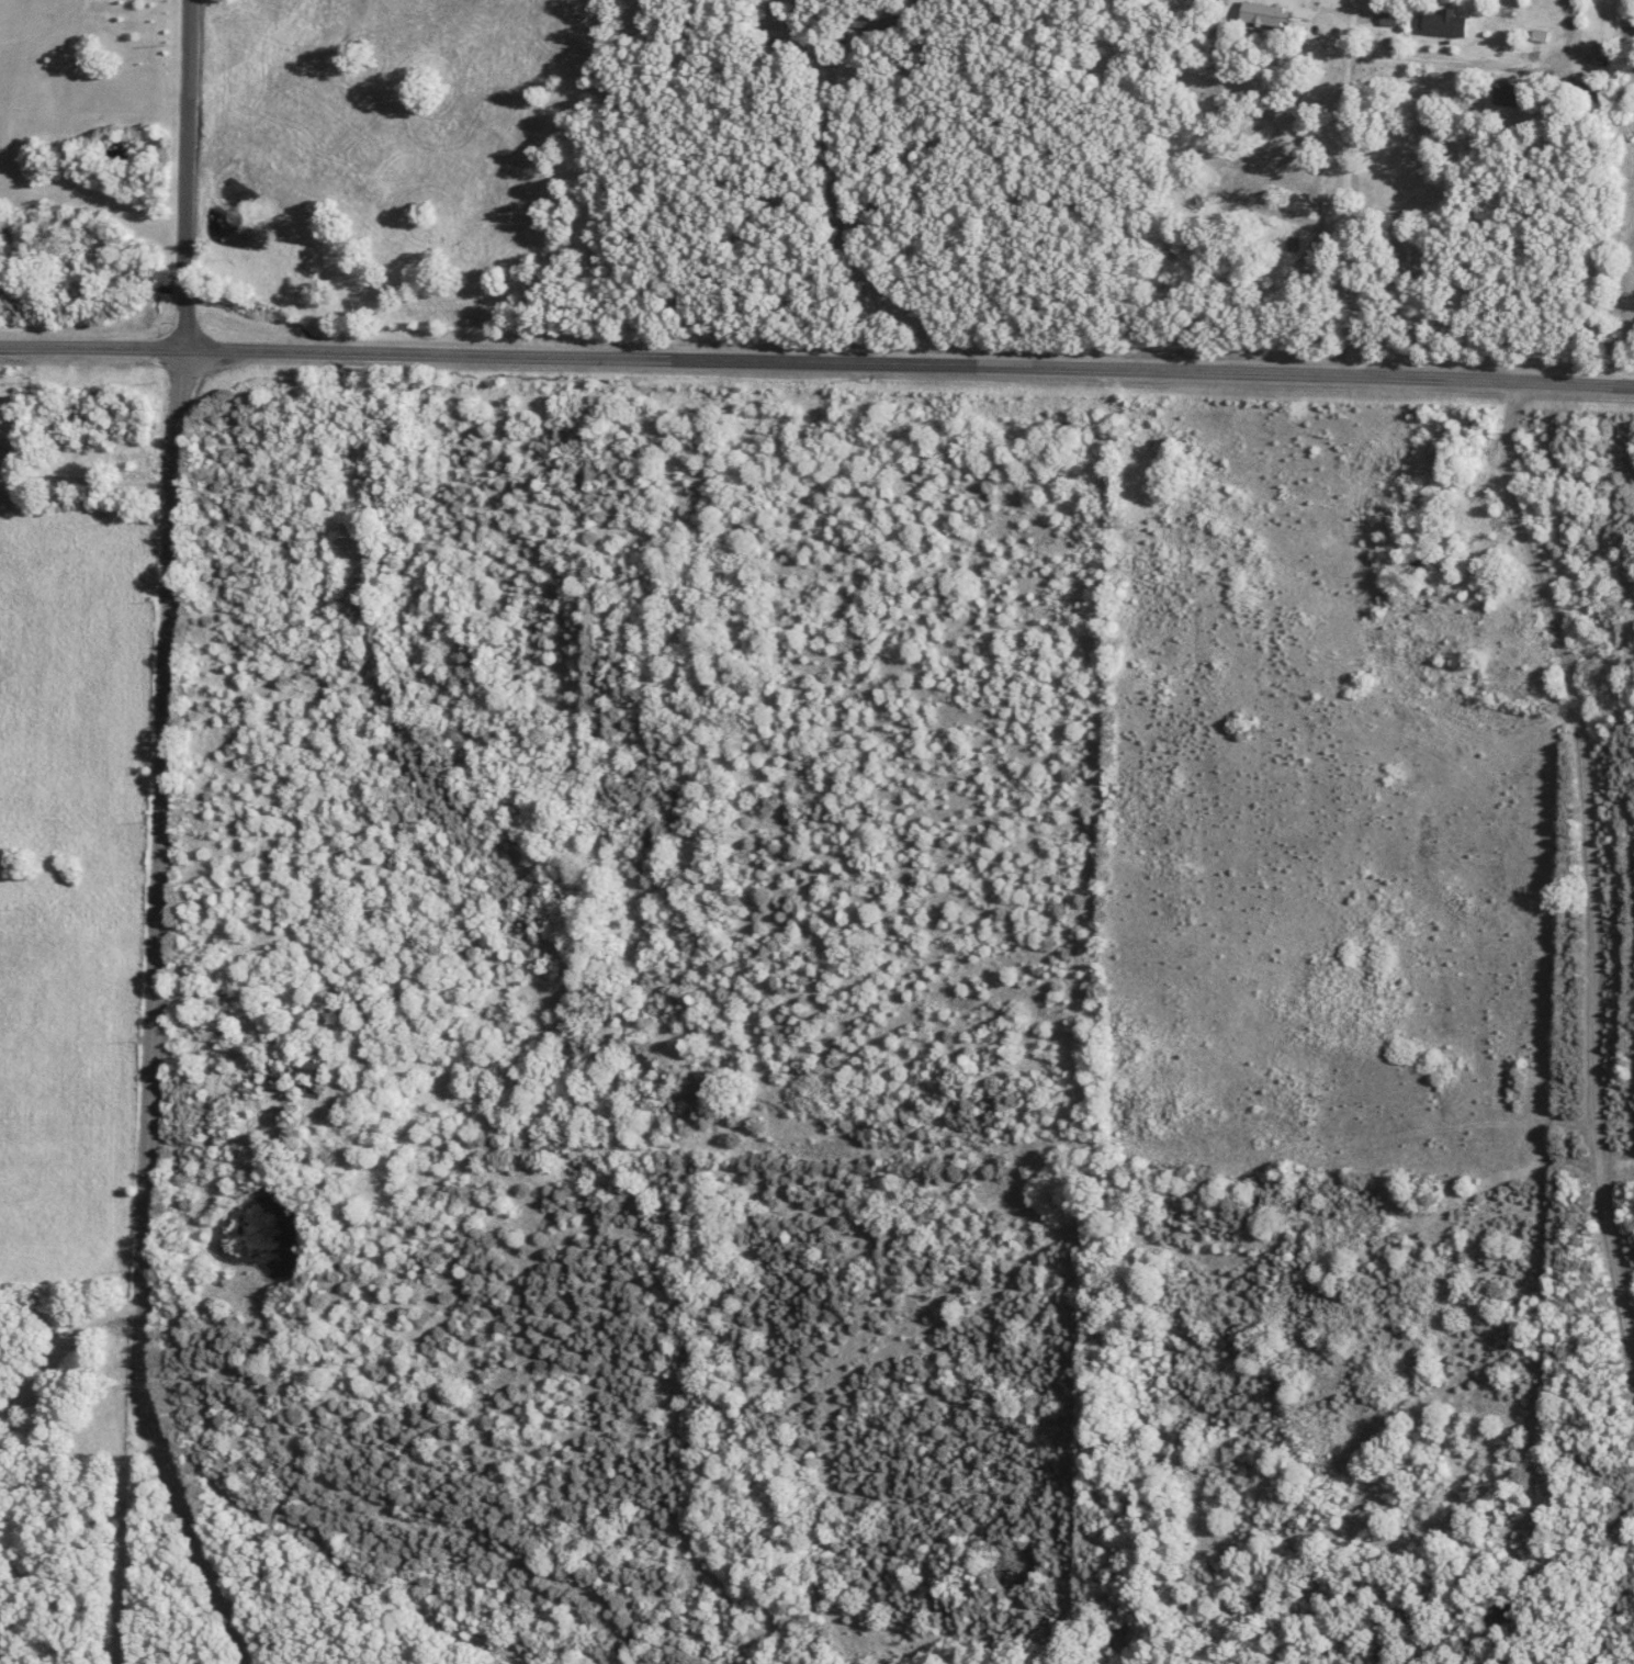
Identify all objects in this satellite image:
building: (1269, 14)
building: (1391, 19)
building: (882, 23)
building: (1447, 24)
road: (1429, 60)
building: (1514, 95)
road: (1348, 188)
road: (848, 204)
road: (1615, 351)
road: (816, 366)
road: (161, 842)
road: (61, 1346)

